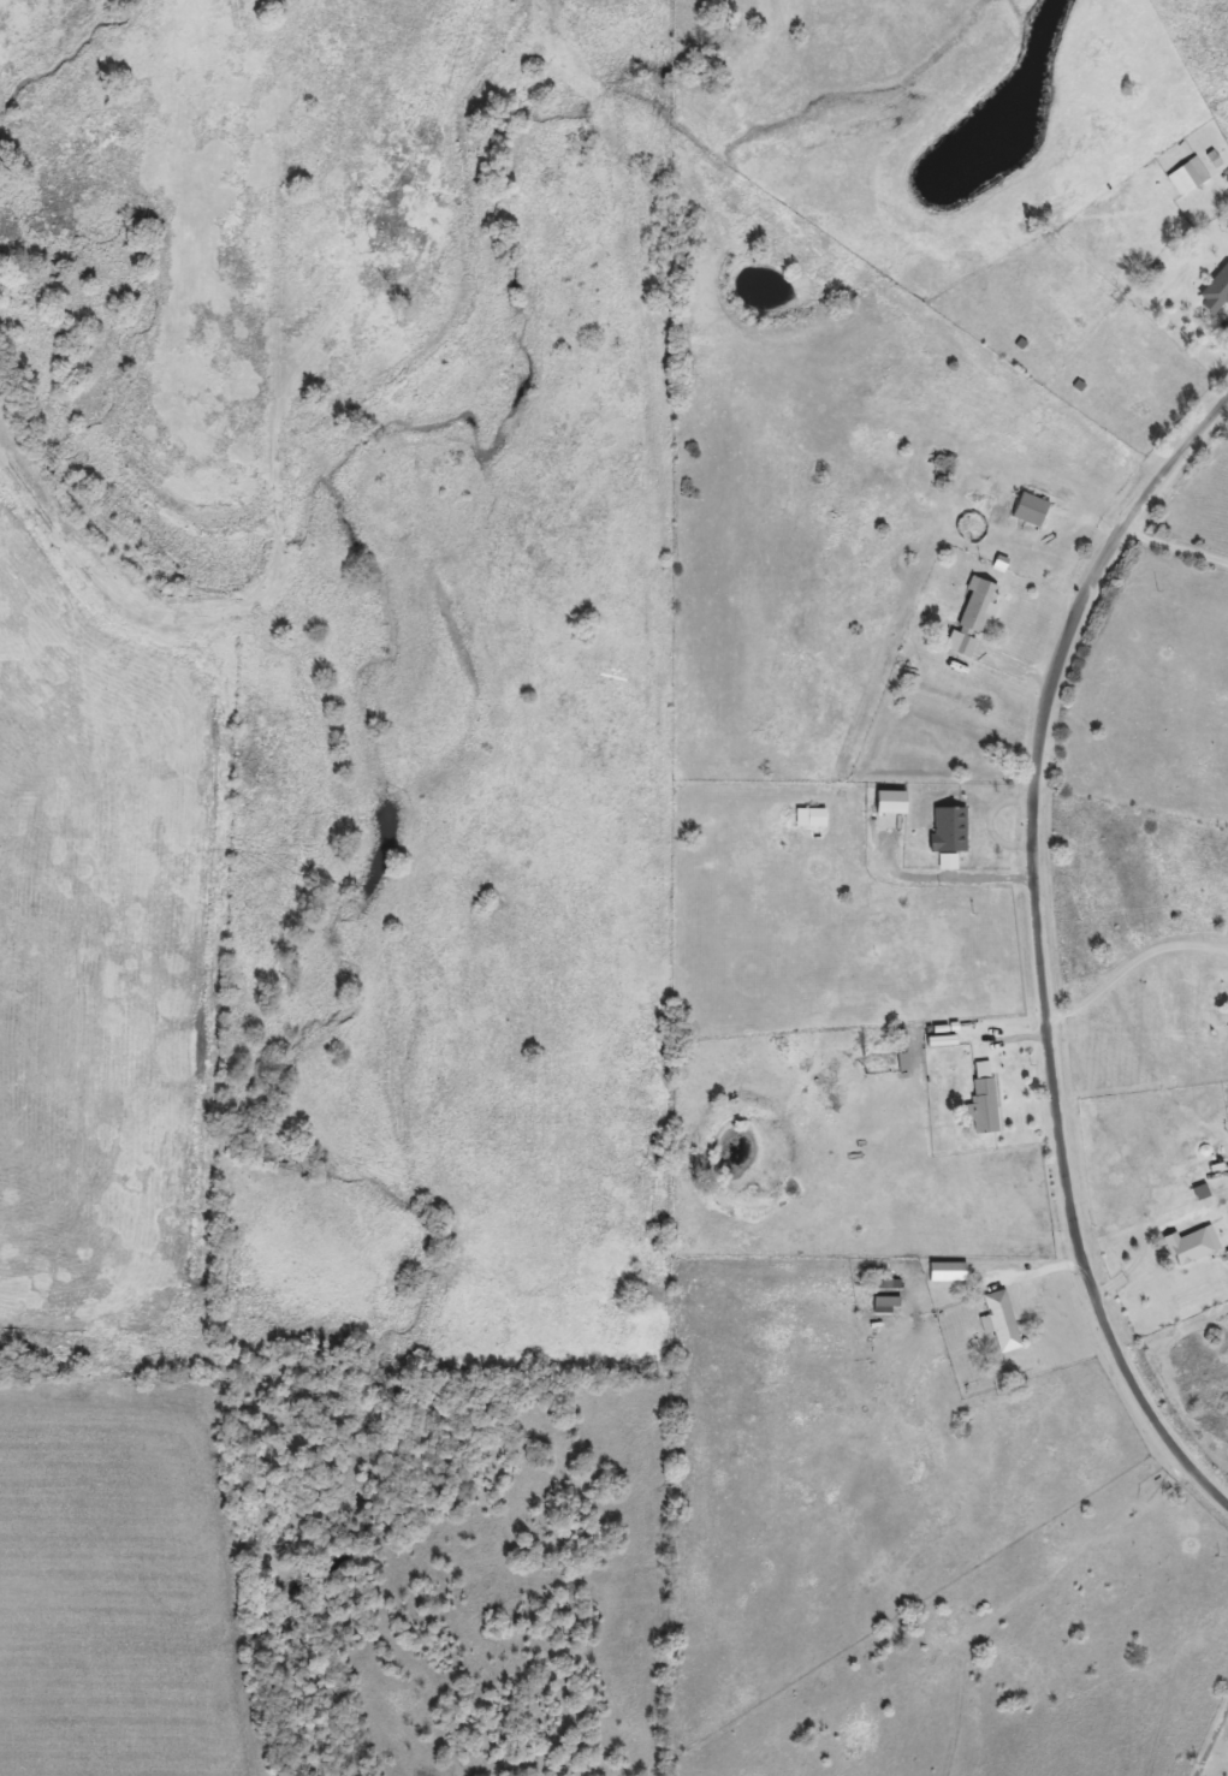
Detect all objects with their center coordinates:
building: (1190, 176)
building: (1216, 291)
building: (1031, 507)
road: (1173, 547)
building: (973, 614)
road: (943, 878)
road: (1038, 945)
road: (1129, 963)
building: (902, 1047)
building: (985, 1105)
building: (1193, 1245)
building: (888, 1301)
building: (1003, 1320)
road: (1220, 1729)
road: (1209, 1734)

